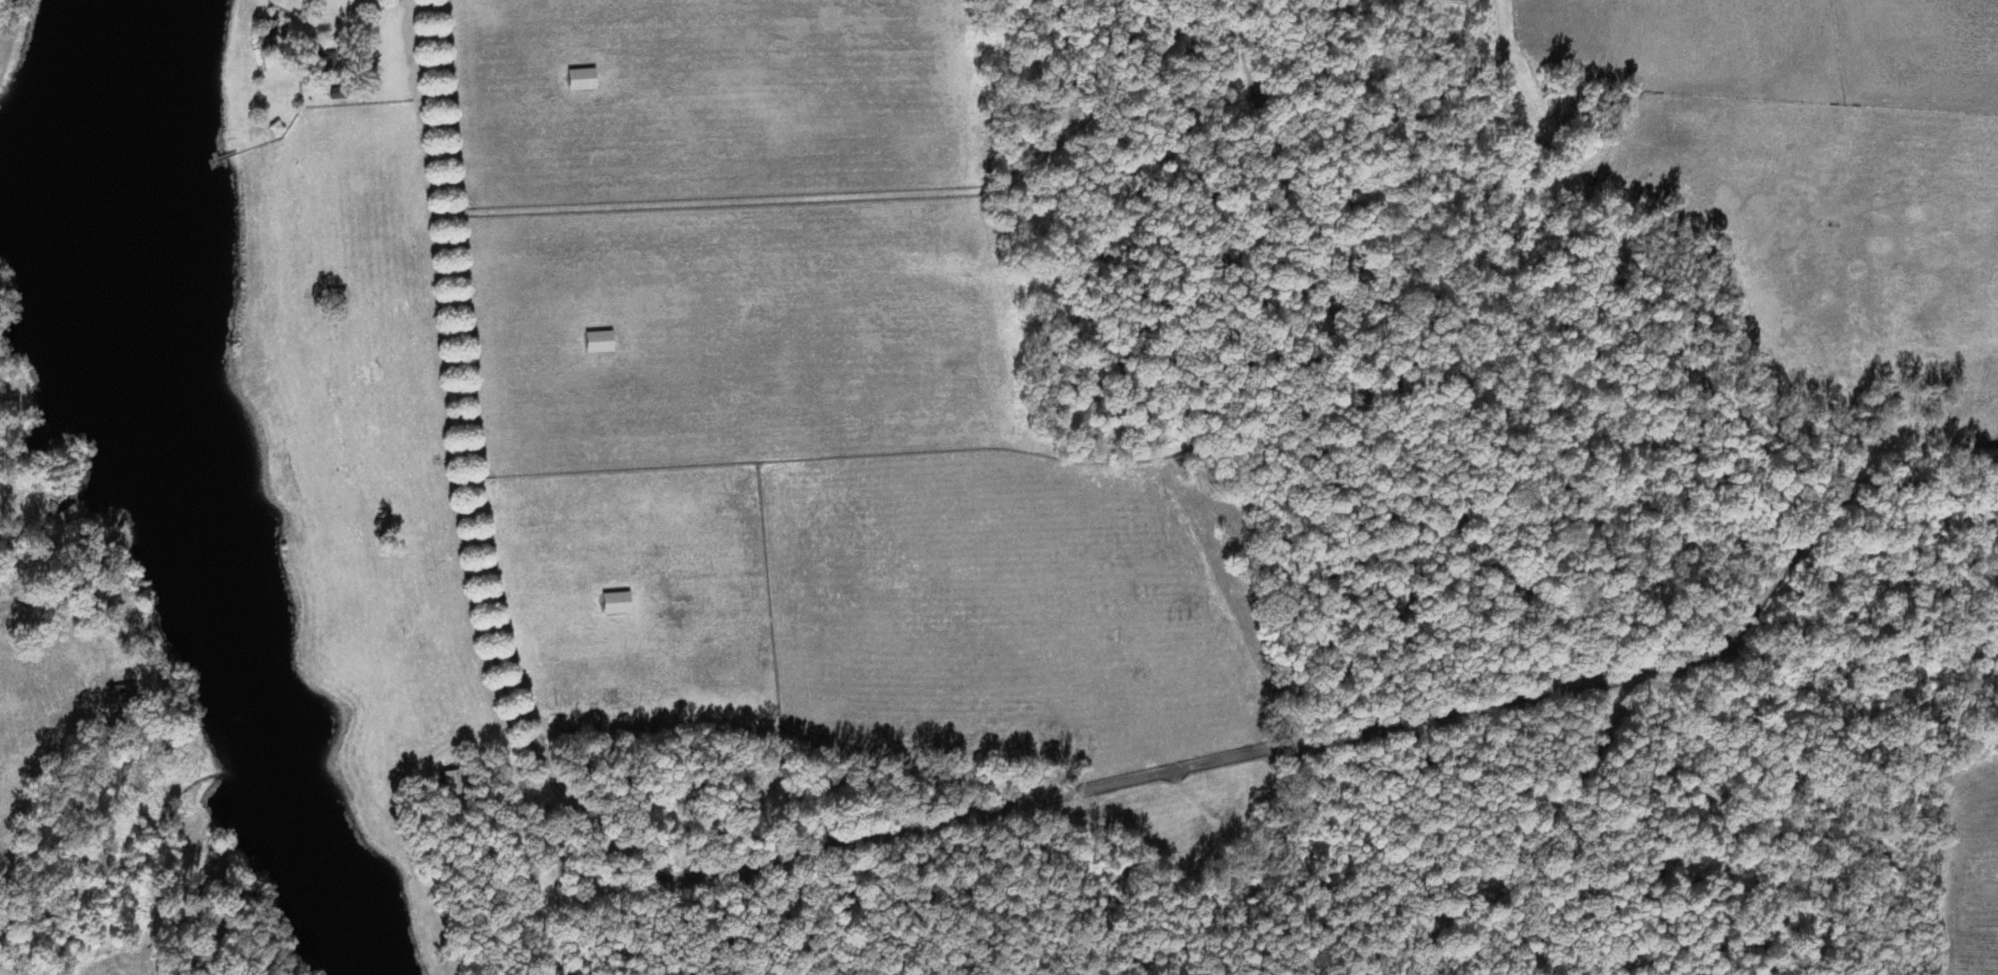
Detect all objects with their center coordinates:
building: (585, 78)
building: (603, 341)
building: (620, 602)
building: (123, 699)

